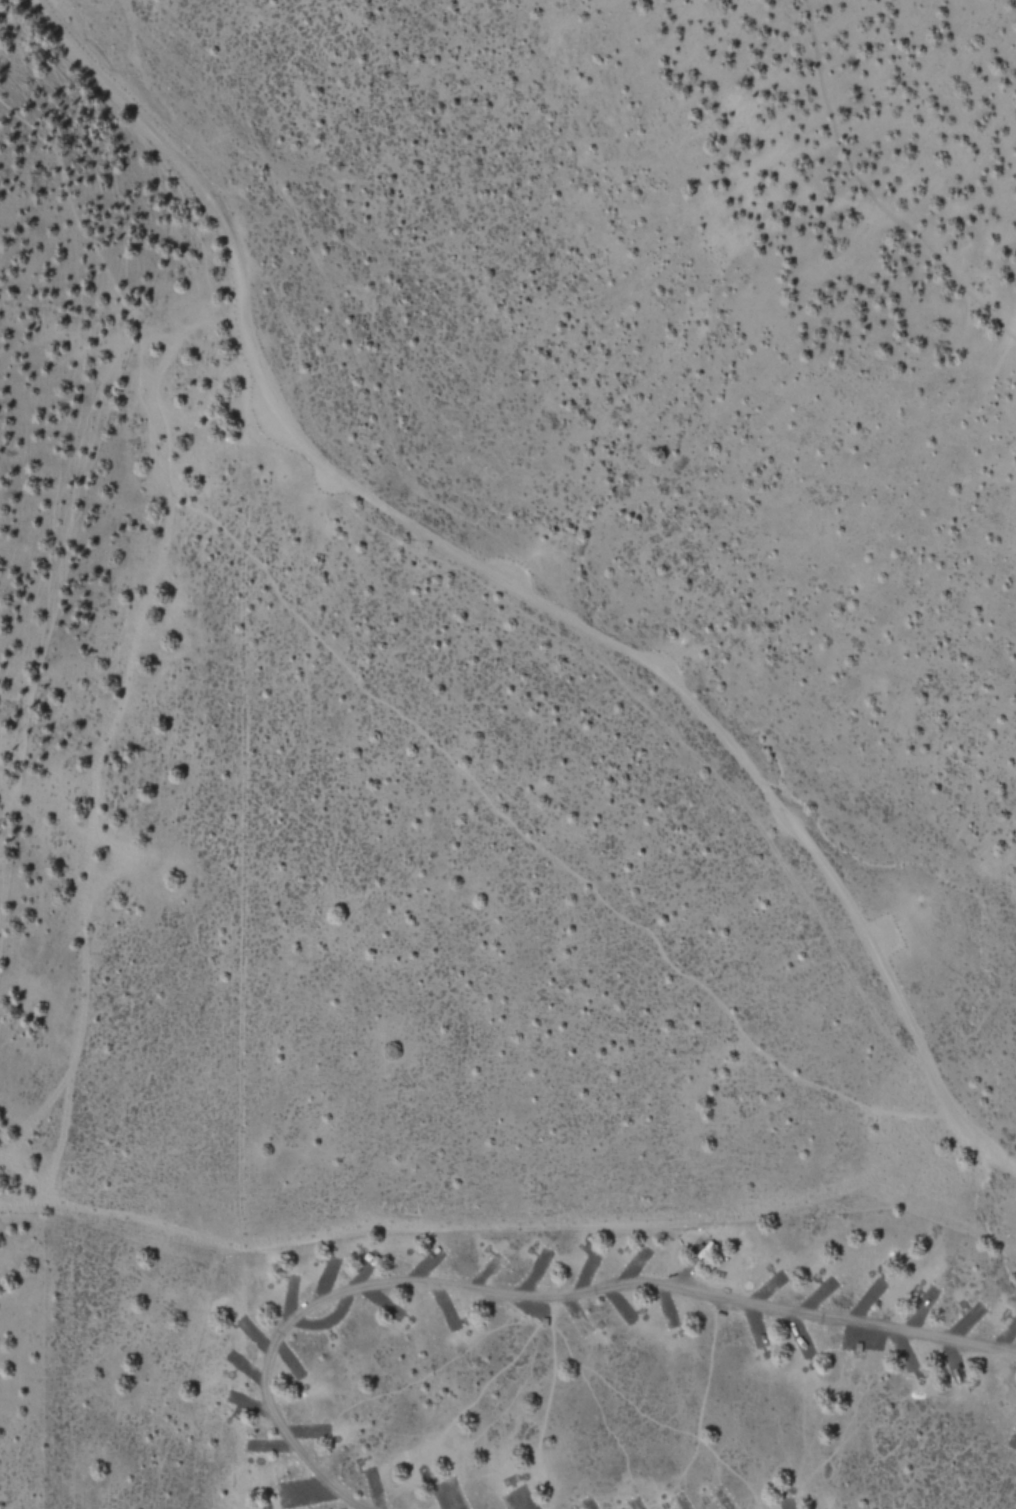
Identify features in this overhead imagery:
road: (874, 189)
road: (479, 565)
road: (377, 698)
road: (982, 1146)
road: (530, 1295)
building: (542, 1321)

